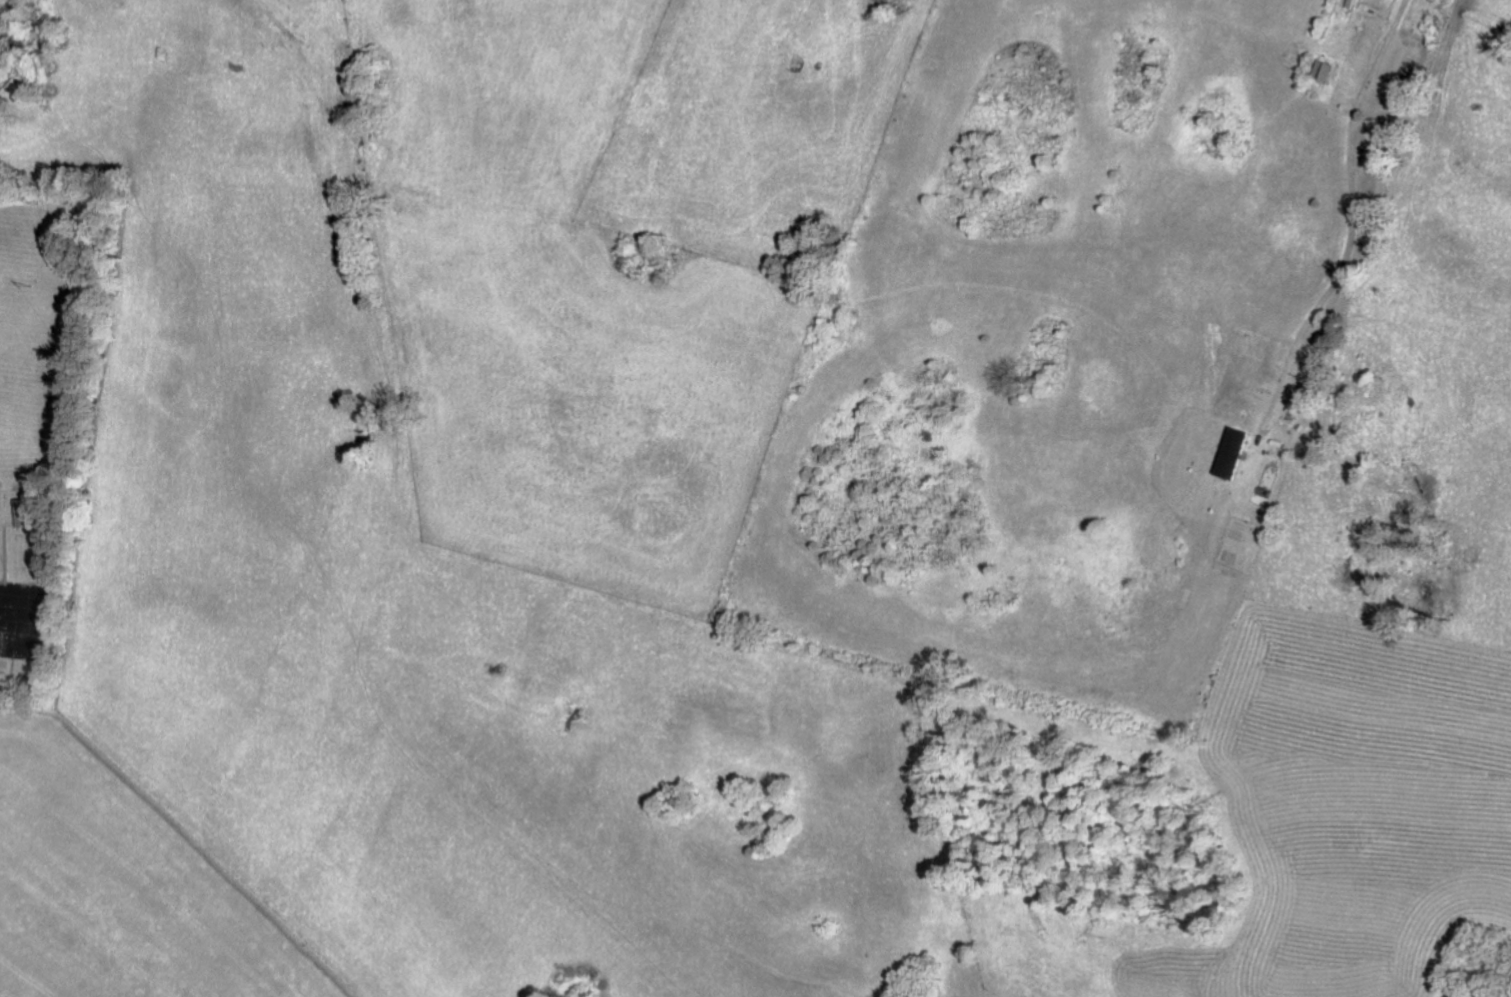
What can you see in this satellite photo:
building: (1320, 70)
building: (1229, 452)
building: (28, 512)

